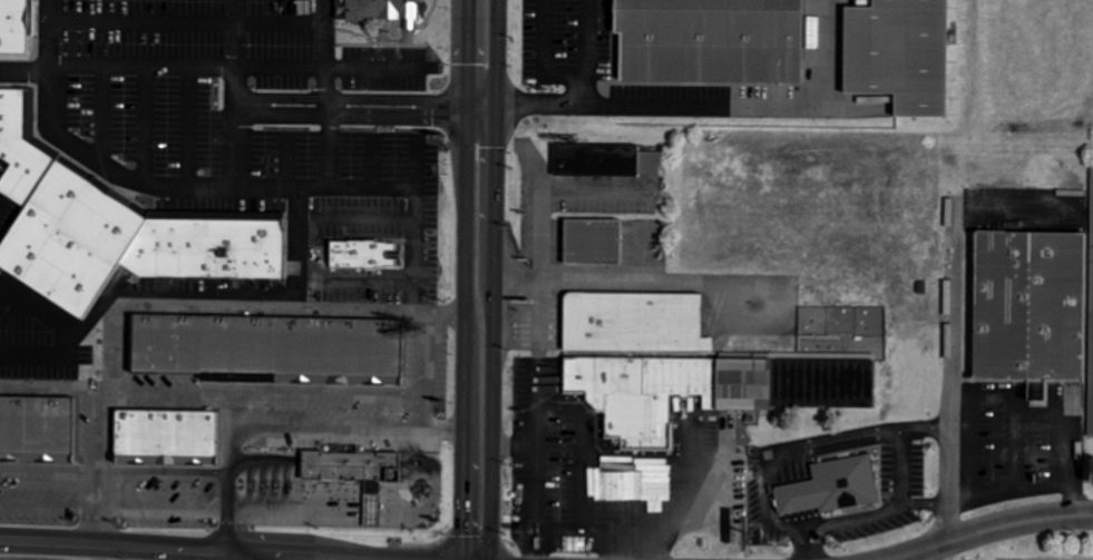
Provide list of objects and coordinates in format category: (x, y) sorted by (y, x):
building: (375, 7)
building: (803, 13)
road: (185, 20)
building: (14, 23)
road: (48, 31)
road: (235, 32)
building: (710, 40)
road: (322, 47)
building: (899, 53)
road: (208, 65)
road: (567, 71)
road: (586, 89)
road: (235, 102)
road: (324, 105)
road: (456, 105)
traffic signals: (467, 106)
road: (482, 106)
traffic signals: (498, 106)
road: (707, 106)
road: (99, 112)
road: (141, 122)
road: (184, 124)
road: (233, 124)
building: (22, 147)
road: (325, 149)
road: (281, 158)
road: (371, 159)
road: (413, 159)
building: (605, 159)
road: (103, 165)
road: (353, 185)
building: (1092, 203)
road: (538, 212)
road: (294, 214)
road: (353, 217)
building: (70, 239)
building: (593, 242)
building: (207, 247)
road: (412, 247)
building: (362, 254)
road: (465, 279)
road: (495, 279)
road: (352, 281)
road: (640, 281)
road: (198, 303)
road: (16, 304)
building: (1032, 305)
road: (38, 308)
building: (634, 321)
building: (1090, 343)
road: (107, 344)
road: (536, 345)
building: (270, 346)
road: (948, 356)
building: (802, 365)
road: (421, 369)
building: (1091, 376)
road: (263, 386)
building: (630, 395)
road: (543, 410)
building: (1091, 410)
road: (1024, 416)
building: (36, 428)
road: (326, 428)
road: (923, 429)
road: (968, 434)
building: (166, 435)
road: (826, 449)
road: (631, 458)
road: (99, 465)
building: (351, 466)
road: (116, 469)
road: (233, 469)
road: (901, 470)
road: (534, 471)
road: (432, 478)
road: (580, 480)
building: (635, 487)
building: (830, 487)
road: (767, 502)
road: (923, 503)
road: (50, 504)
road: (165, 509)
road: (296, 511)
road: (369, 512)
road: (384, 512)
road: (862, 518)
road: (940, 523)
road: (781, 524)
road: (809, 525)
road: (992, 528)
road: (820, 537)
road: (804, 538)
road: (579, 540)
road: (646, 541)
road: (168, 548)
road: (935, 553)
road: (814, 554)
road: (233, 556)
road: (272, 557)

